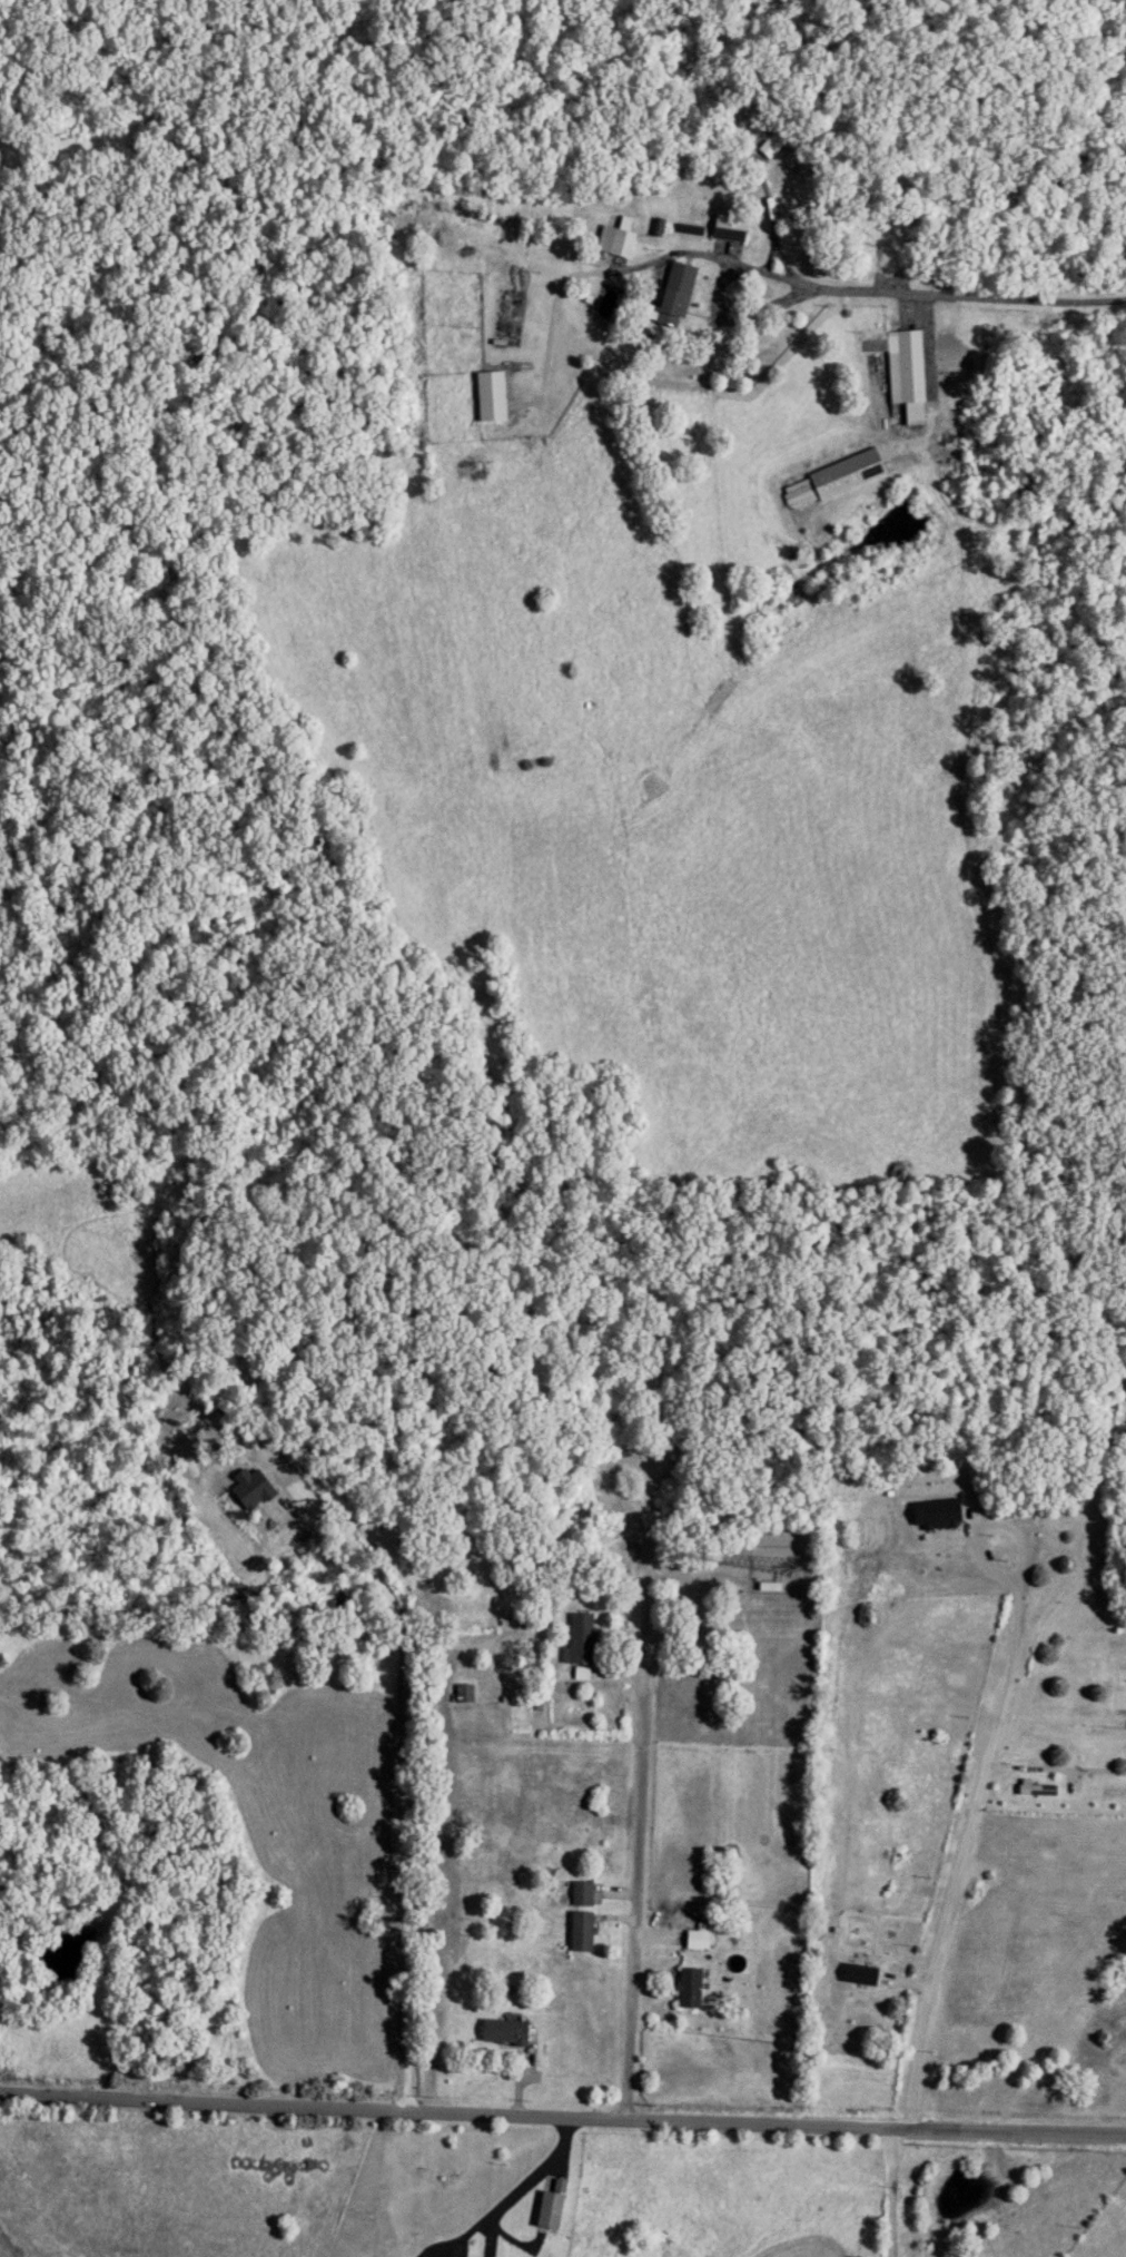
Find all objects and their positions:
building: (777, 140)
building: (611, 243)
road: (804, 282)
building: (674, 292)
road: (1033, 298)
building: (898, 364)
road: (693, 380)
building: (488, 397)
building: (830, 482)
building: (577, 1639)
building: (462, 1694)
road: (972, 1816)
road: (391, 1851)
road: (634, 1890)
building: (579, 1894)
building: (579, 1932)
building: (695, 1939)
building: (685, 1989)
building: (501, 2033)
road: (562, 2115)
road: (517, 2188)
road: (891, 2191)
building: (547, 2206)
road: (488, 2235)

